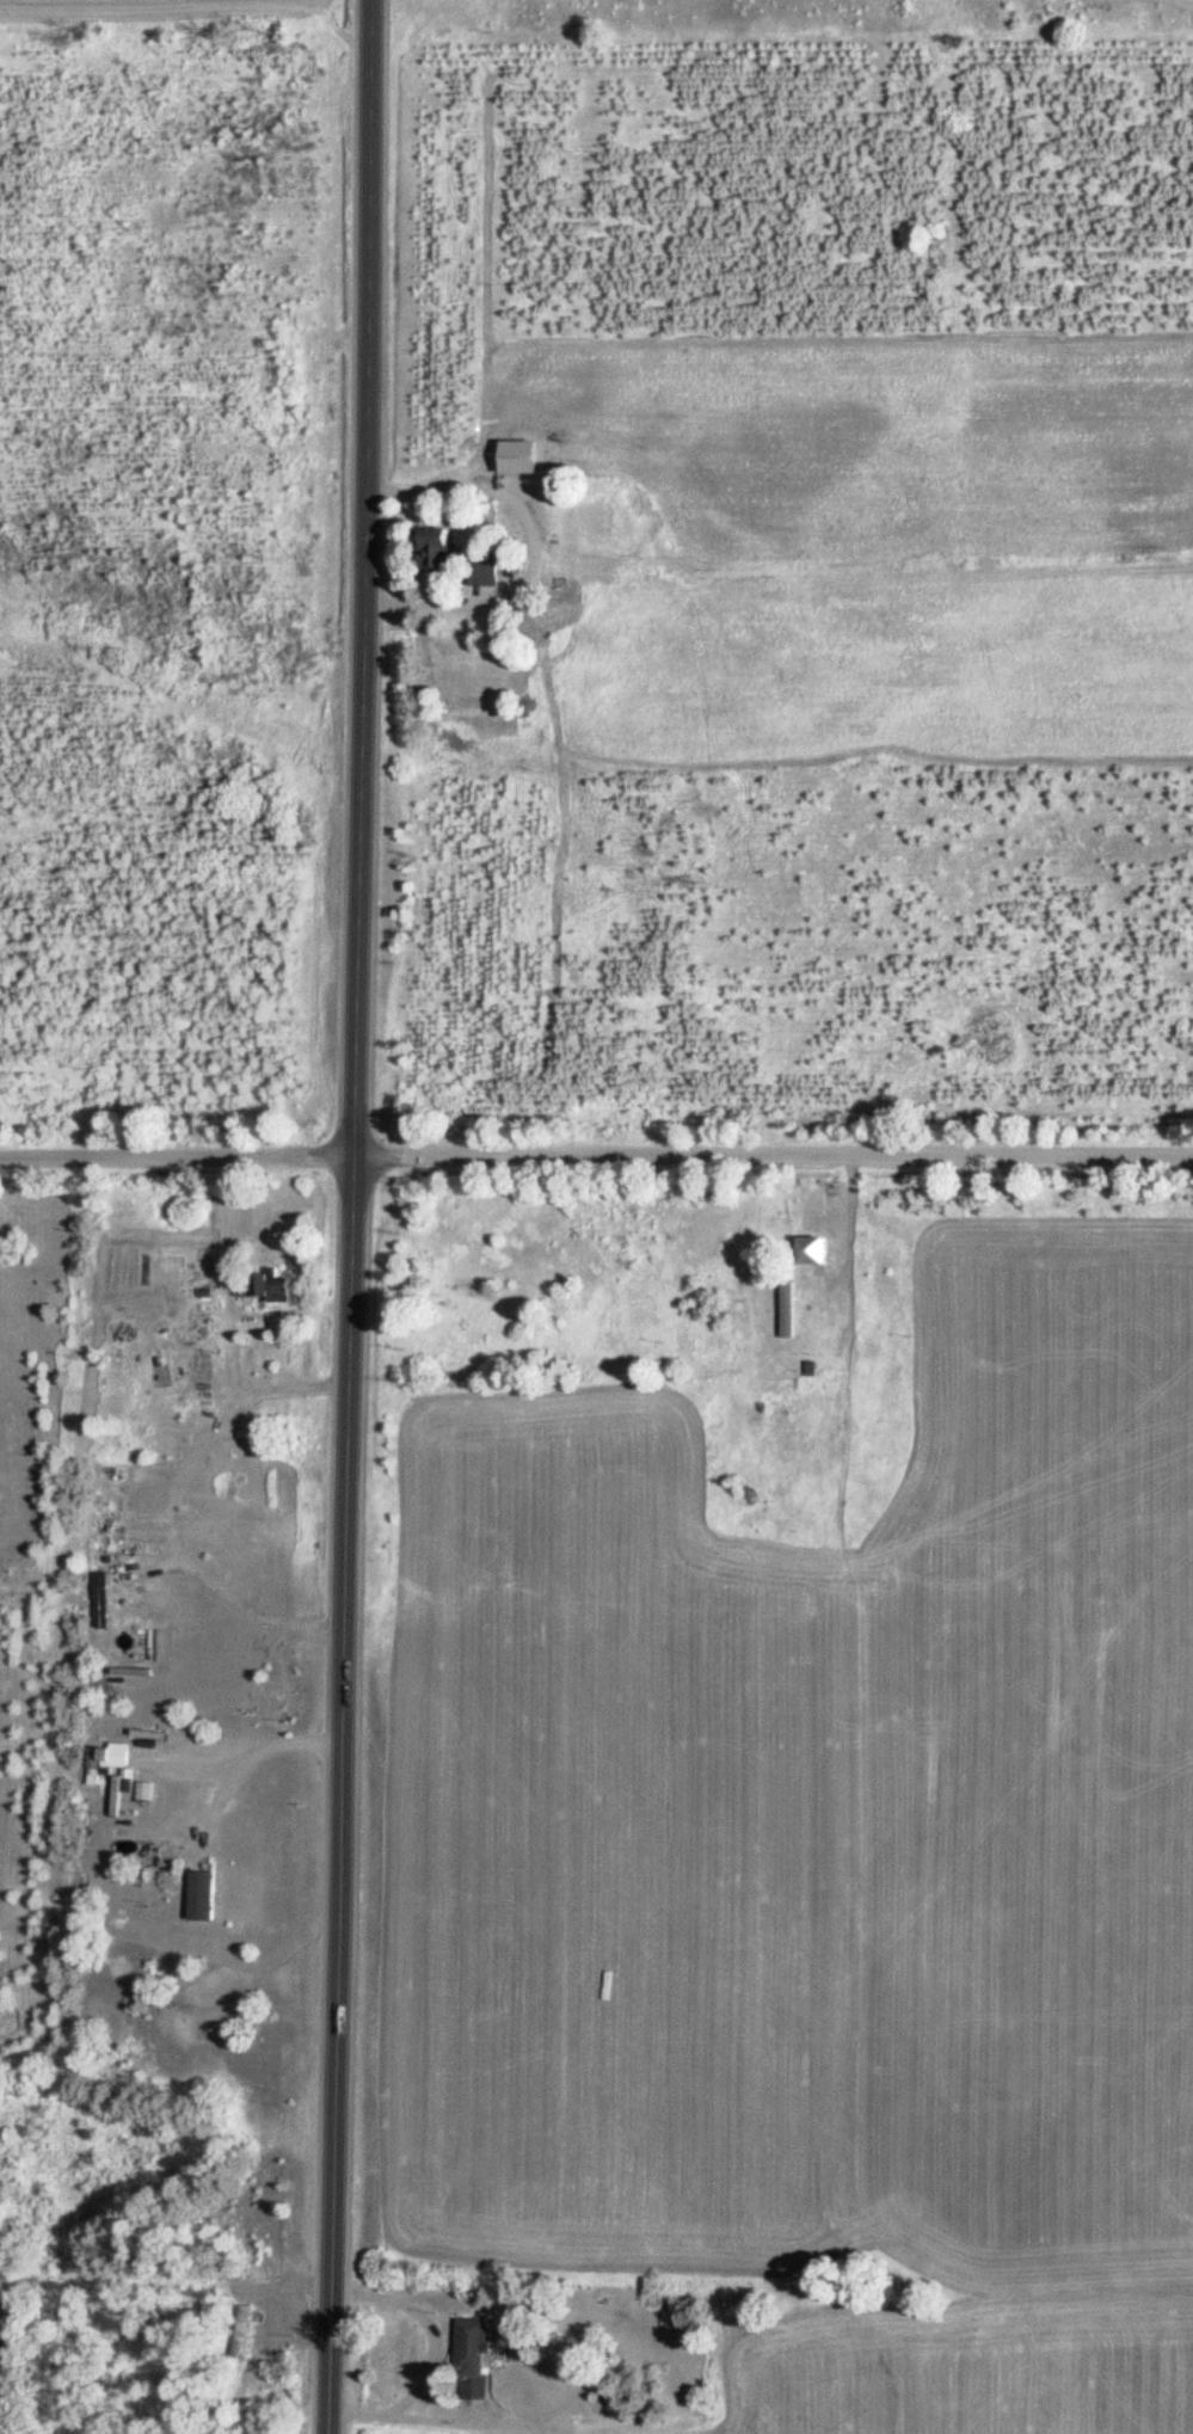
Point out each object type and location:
building: (443, 553)
road: (364, 578)
road: (596, 1158)
building: (817, 1250)
building: (269, 1287)
building: (789, 1309)
building: (125, 1336)
building: (103, 1600)
building: (109, 1757)
building: (118, 1789)
road: (346, 1795)
building: (205, 1894)
building: (244, 2331)
building: (474, 2347)

